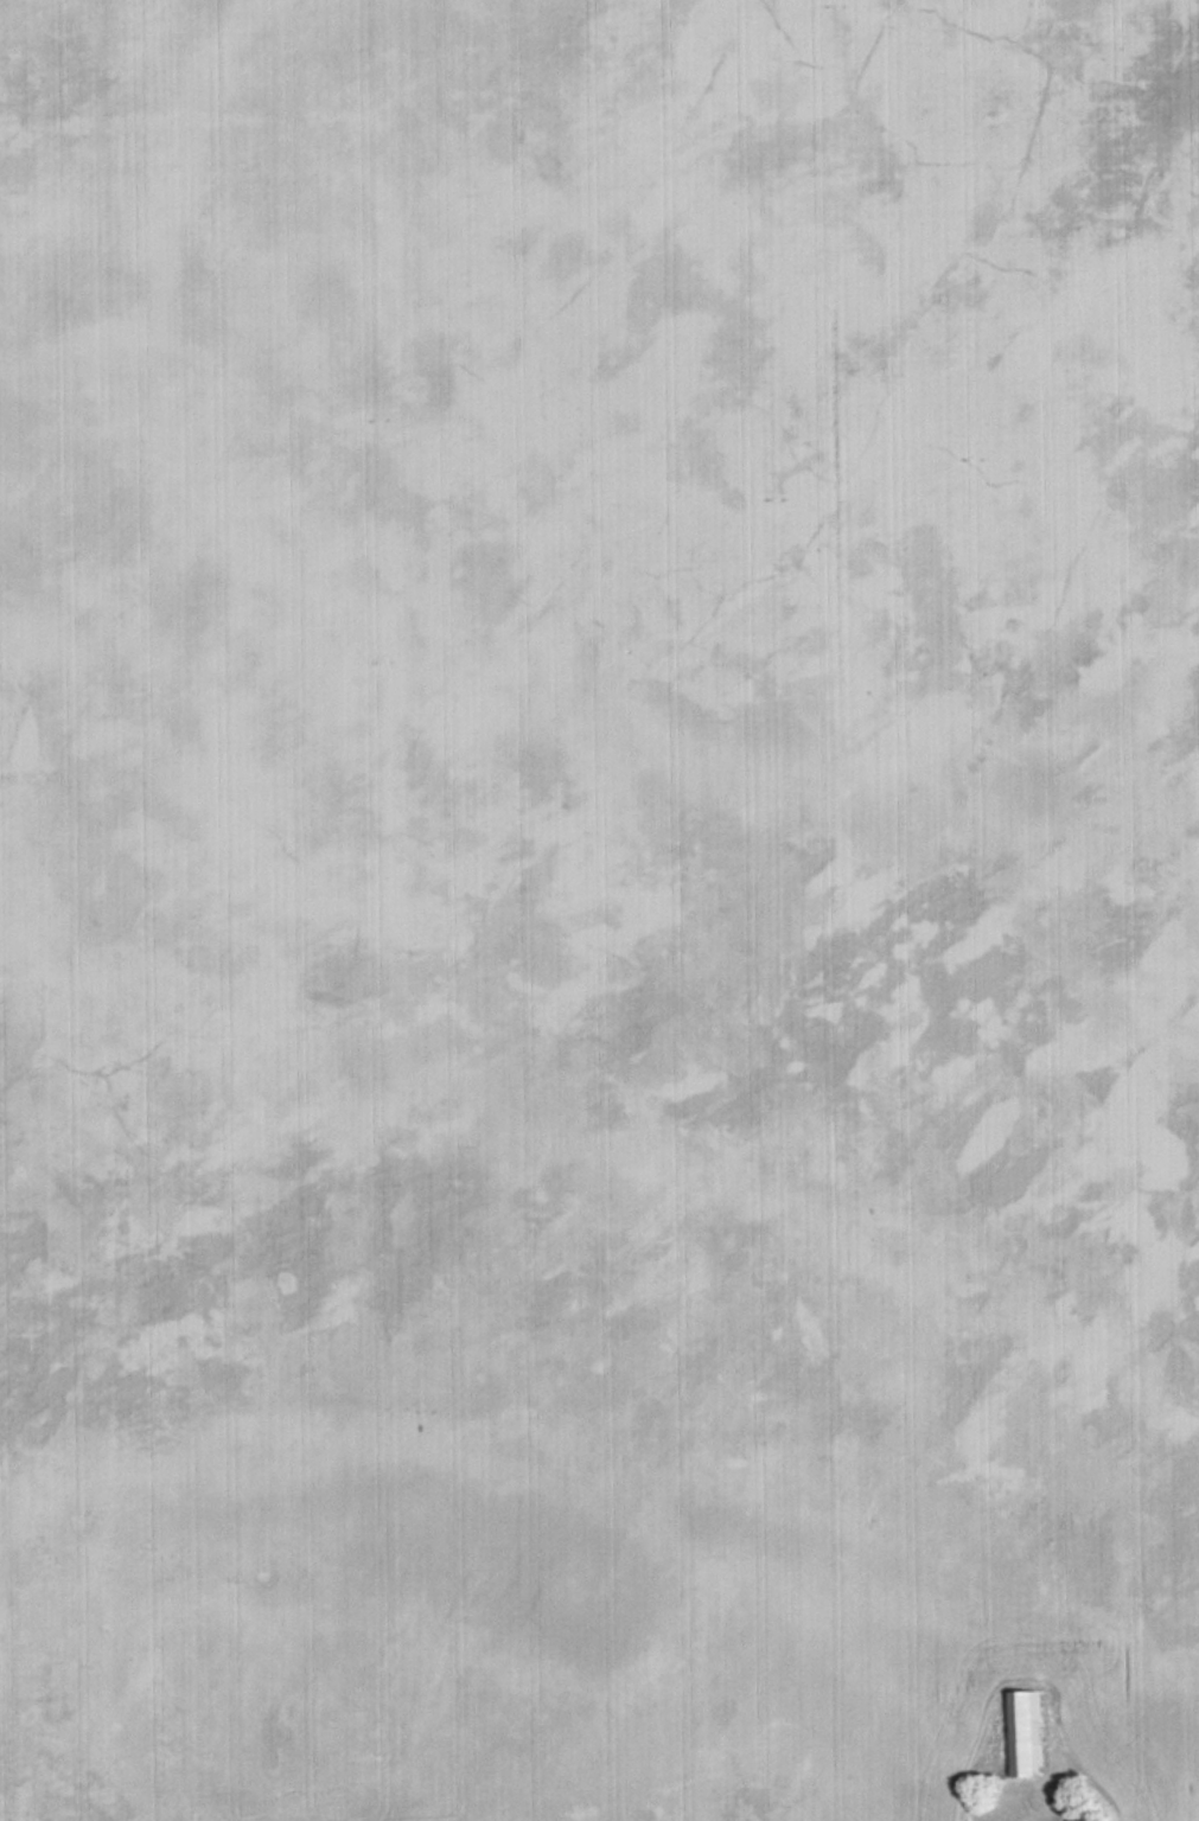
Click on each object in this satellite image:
building: (1022, 1733)

